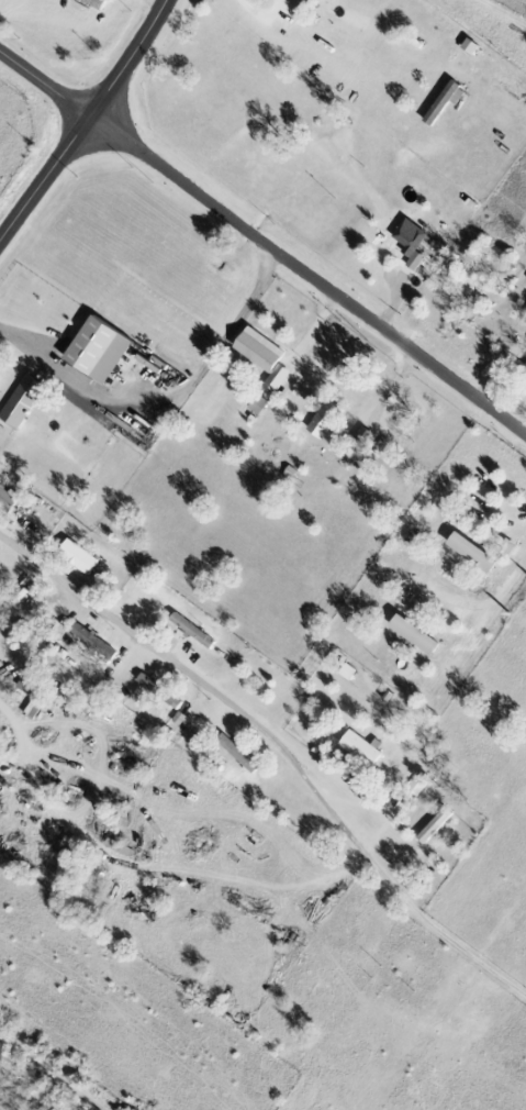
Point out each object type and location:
building: (306, 1)
building: (98, 3)
road: (502, 13)
road: (268, 14)
road: (44, 84)
building: (441, 102)
road: (85, 121)
building: (409, 245)
road: (306, 276)
road: (22, 338)
building: (256, 348)
building: (93, 349)
building: (525, 365)
building: (276, 376)
road: (184, 390)
building: (20, 401)
building: (256, 404)
building: (323, 422)
building: (5, 500)
building: (506, 546)
building: (469, 553)
road: (149, 554)
building: (76, 557)
road: (491, 609)
building: (57, 630)
building: (411, 634)
building: (90, 641)
building: (345, 671)
building: (23, 688)
road: (212, 689)
building: (156, 690)
building: (358, 747)
building: (234, 753)
road: (32, 777)
building: (416, 785)
building: (434, 826)
building: (116, 847)
road: (454, 944)

